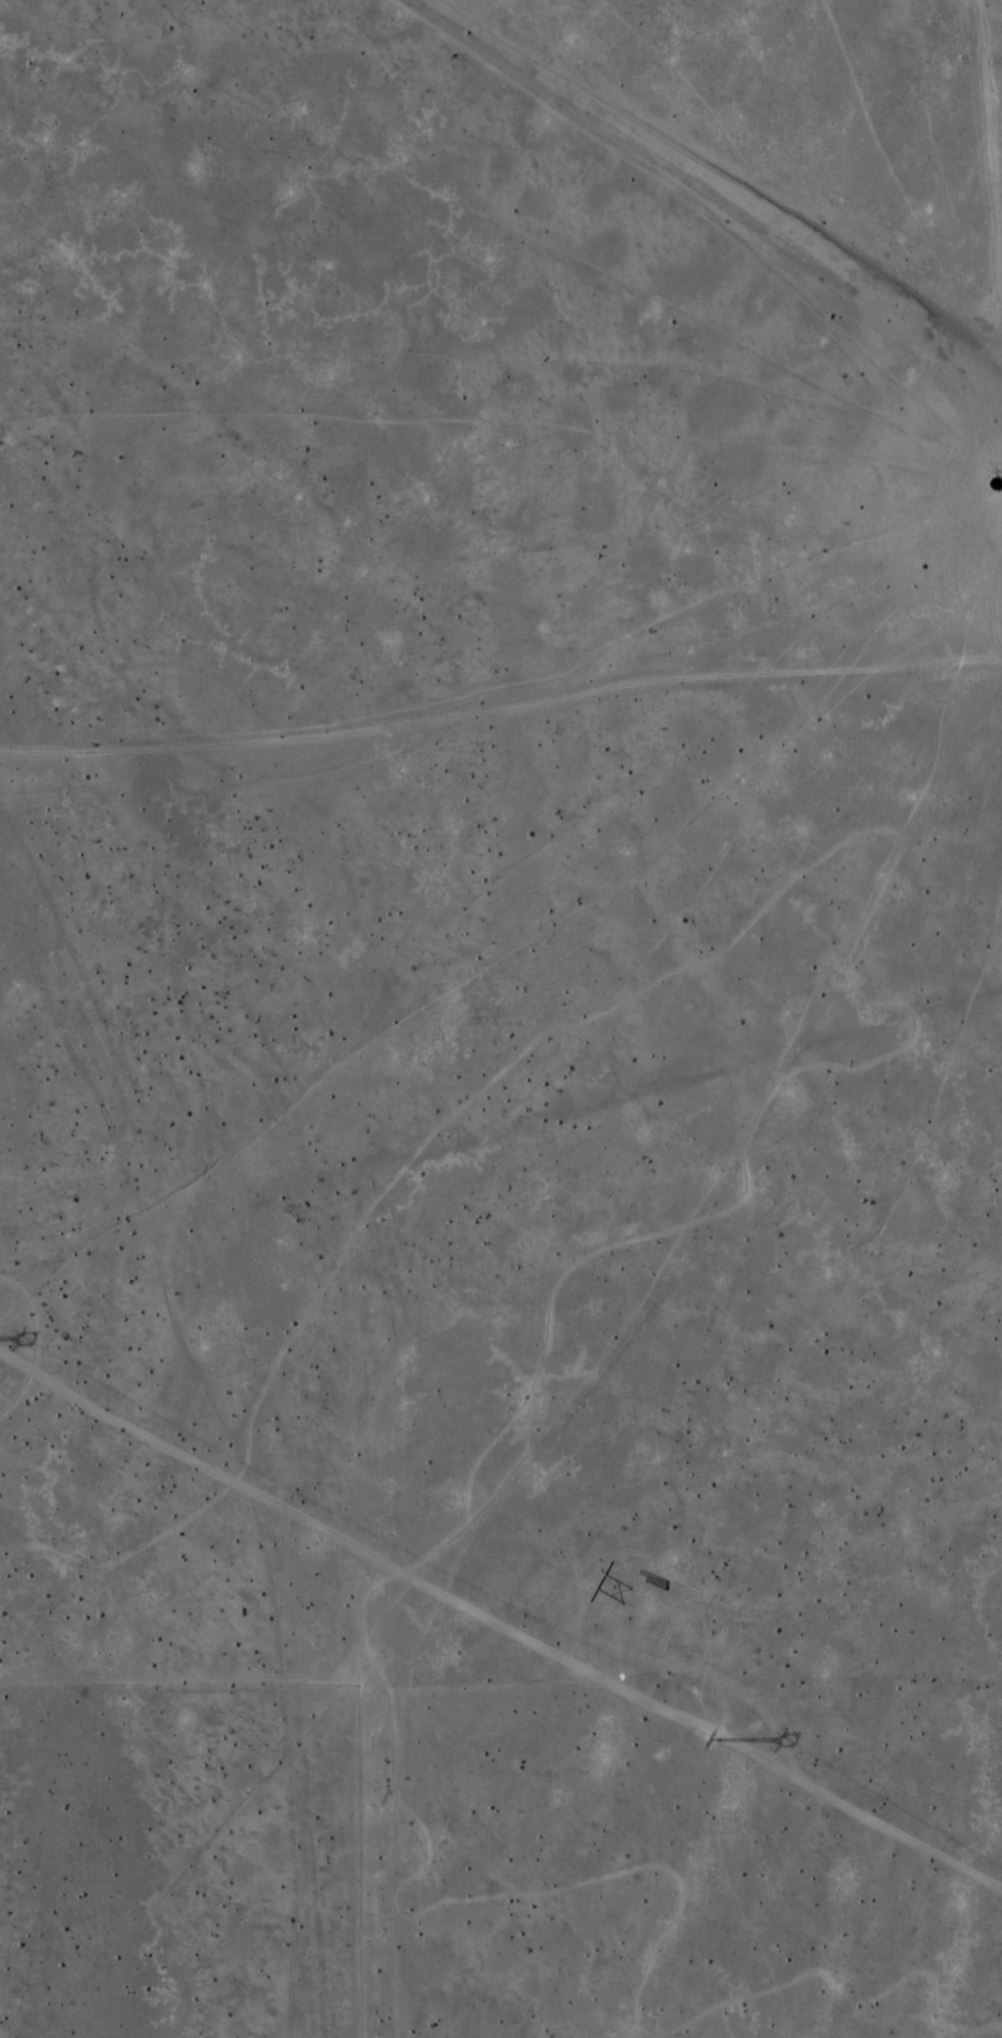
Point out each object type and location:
road: (657, 218)
road: (356, 386)
road: (500, 736)
power tower: (708, 1740)

